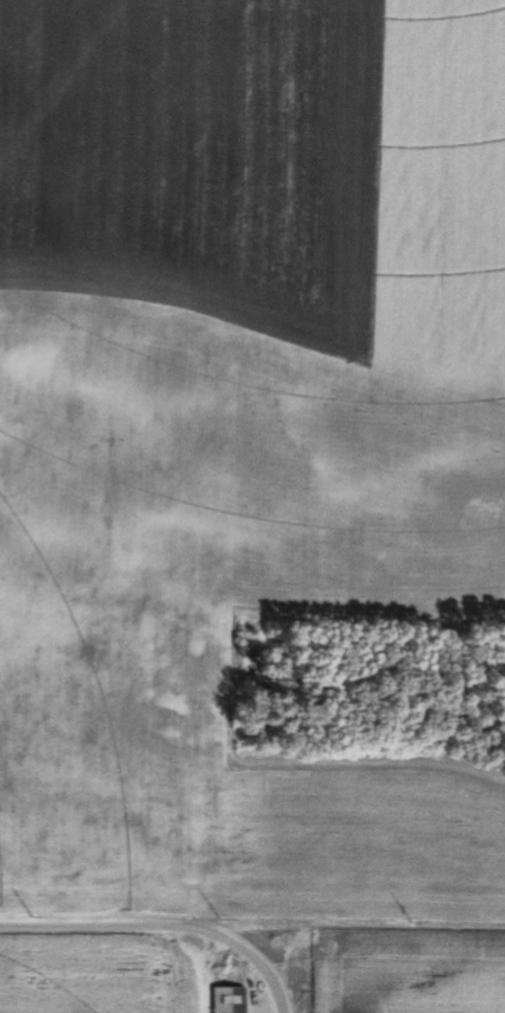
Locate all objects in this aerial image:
building: (230, 1000)

